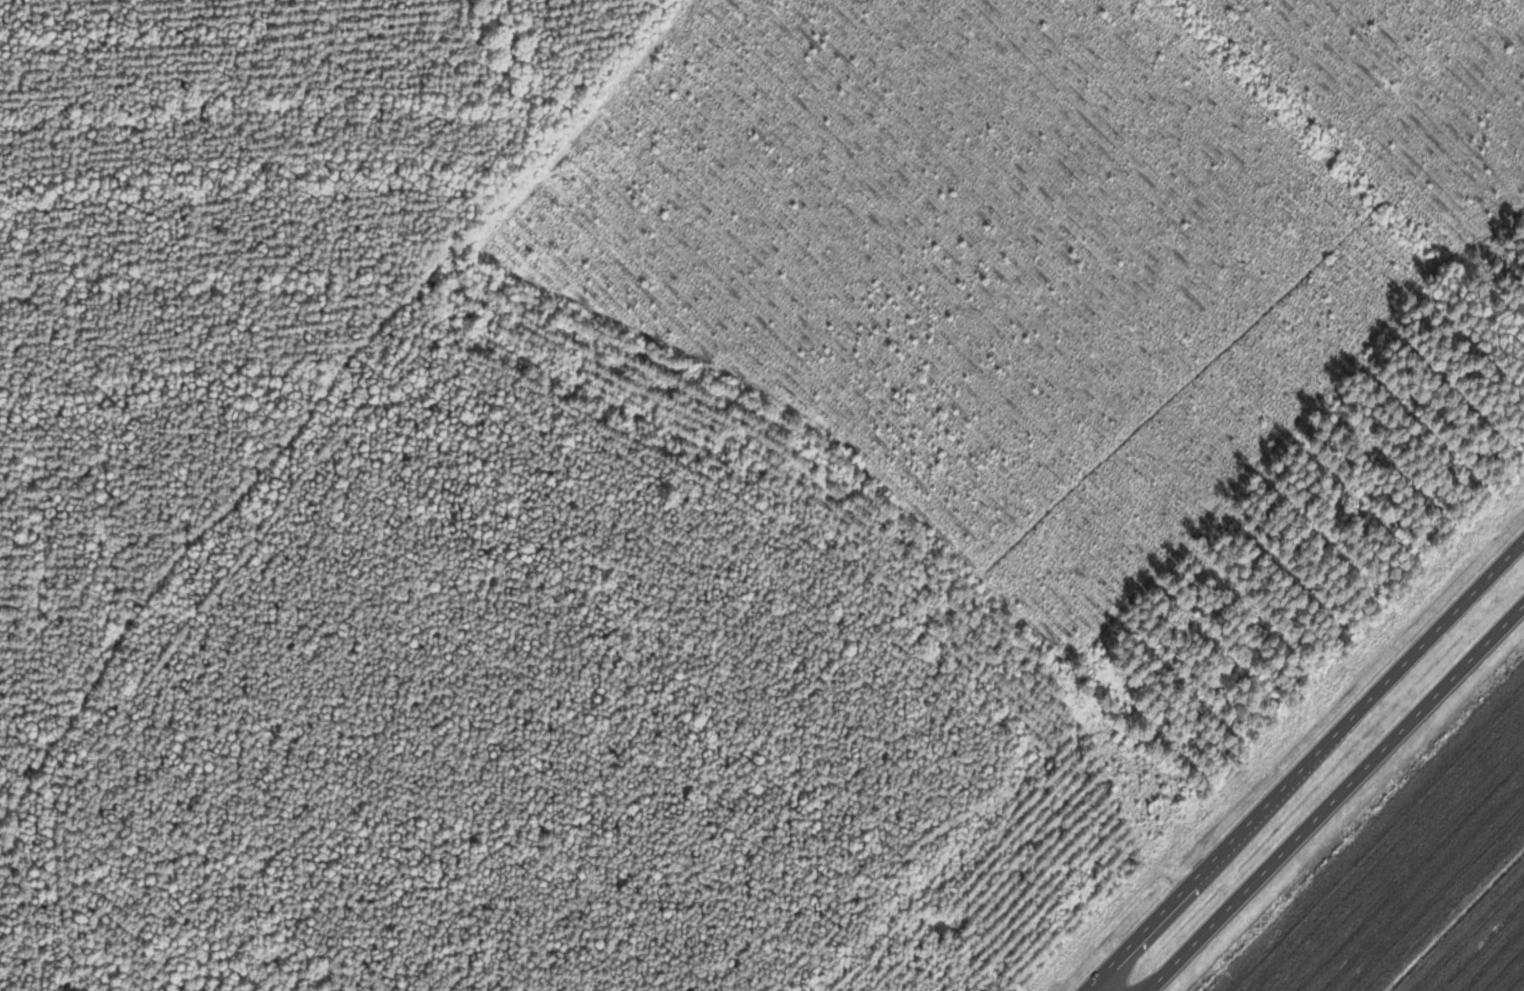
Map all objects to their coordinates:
road: (1304, 766)
road: (1341, 798)
road: (1100, 986)

